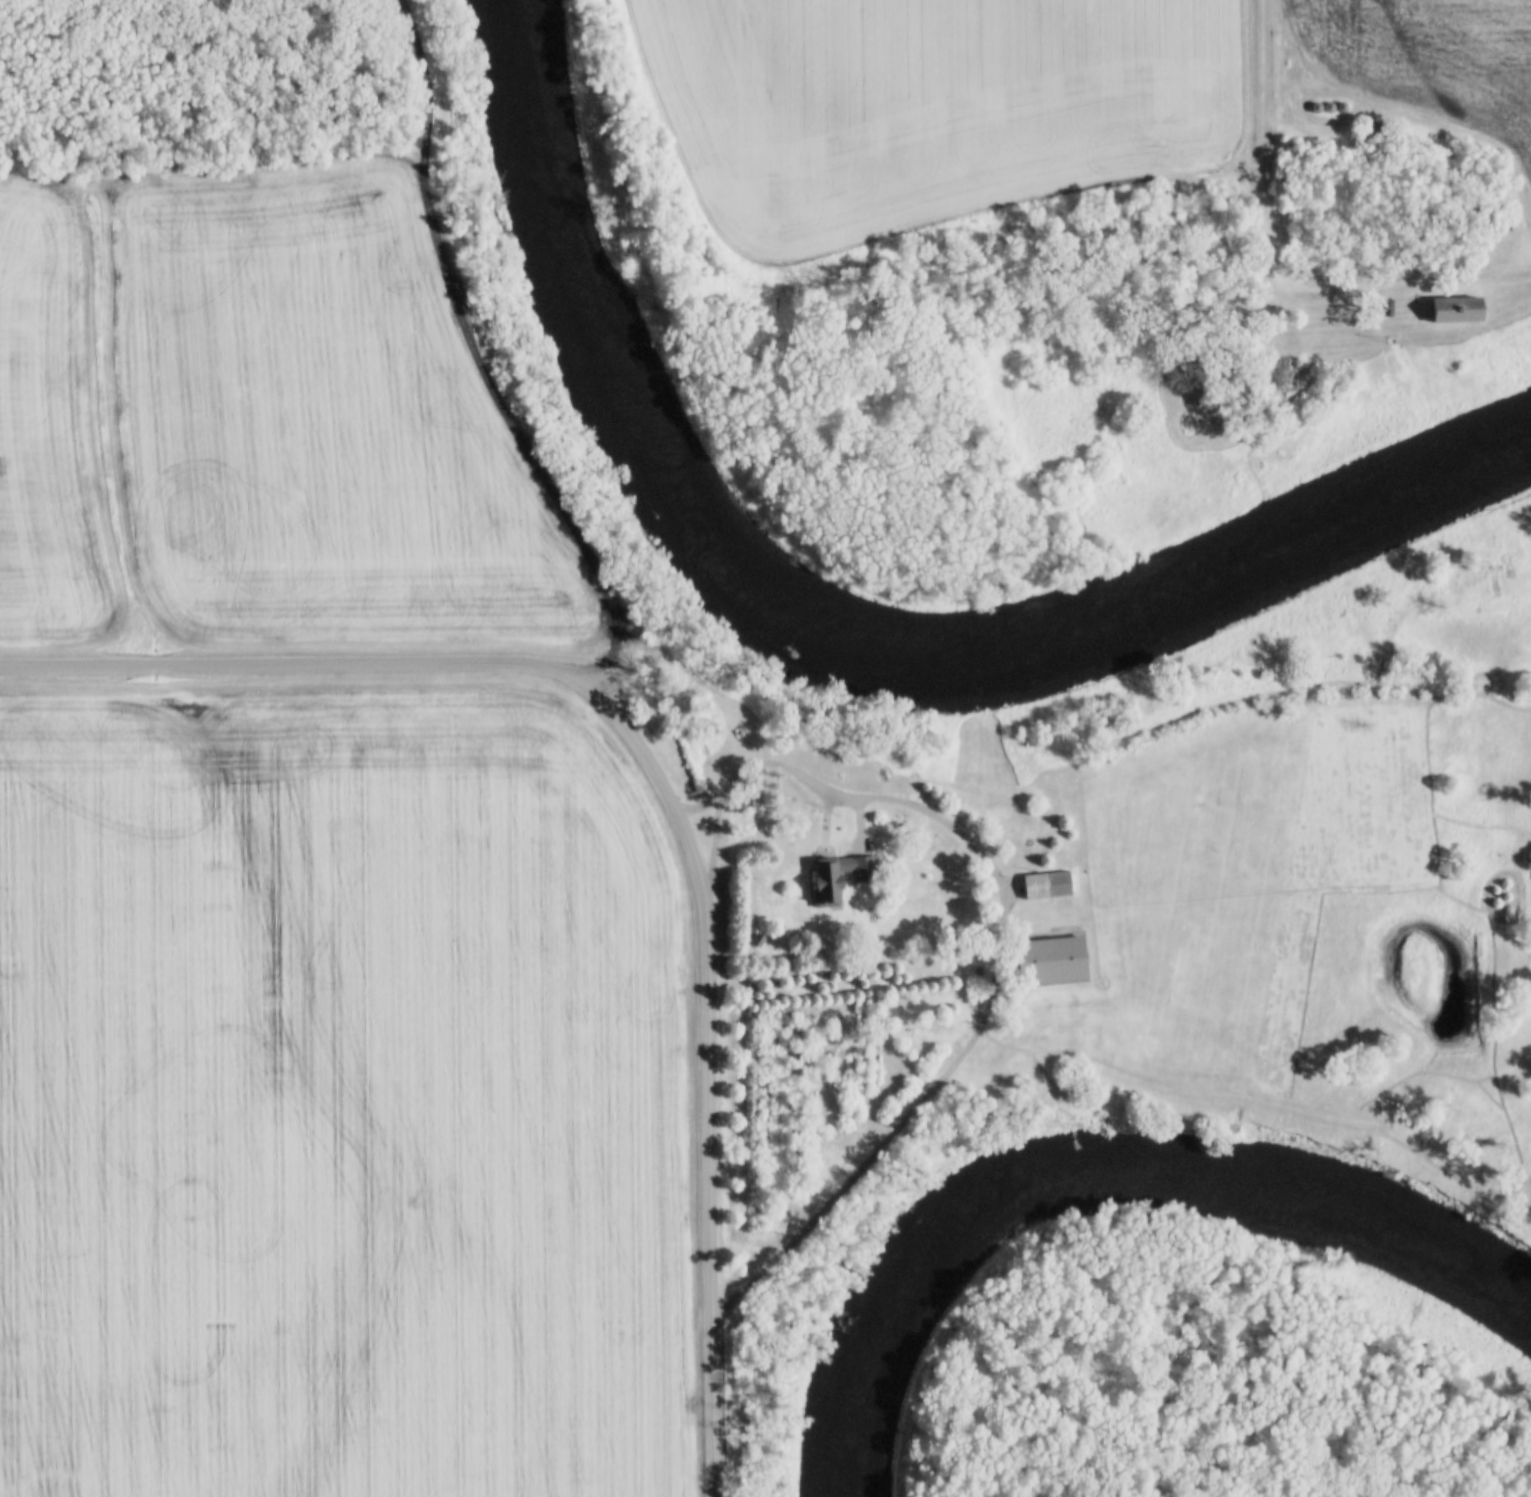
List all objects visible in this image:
road: (1261, 181)
road: (1472, 215)
building: (1483, 221)
building: (1449, 311)
building: (1278, 375)
river: (836, 641)
road: (416, 666)
road: (713, 844)
building: (836, 878)
building: (1042, 885)
building: (1046, 961)
road: (998, 964)
river: (1115, 1189)
road: (708, 1194)

